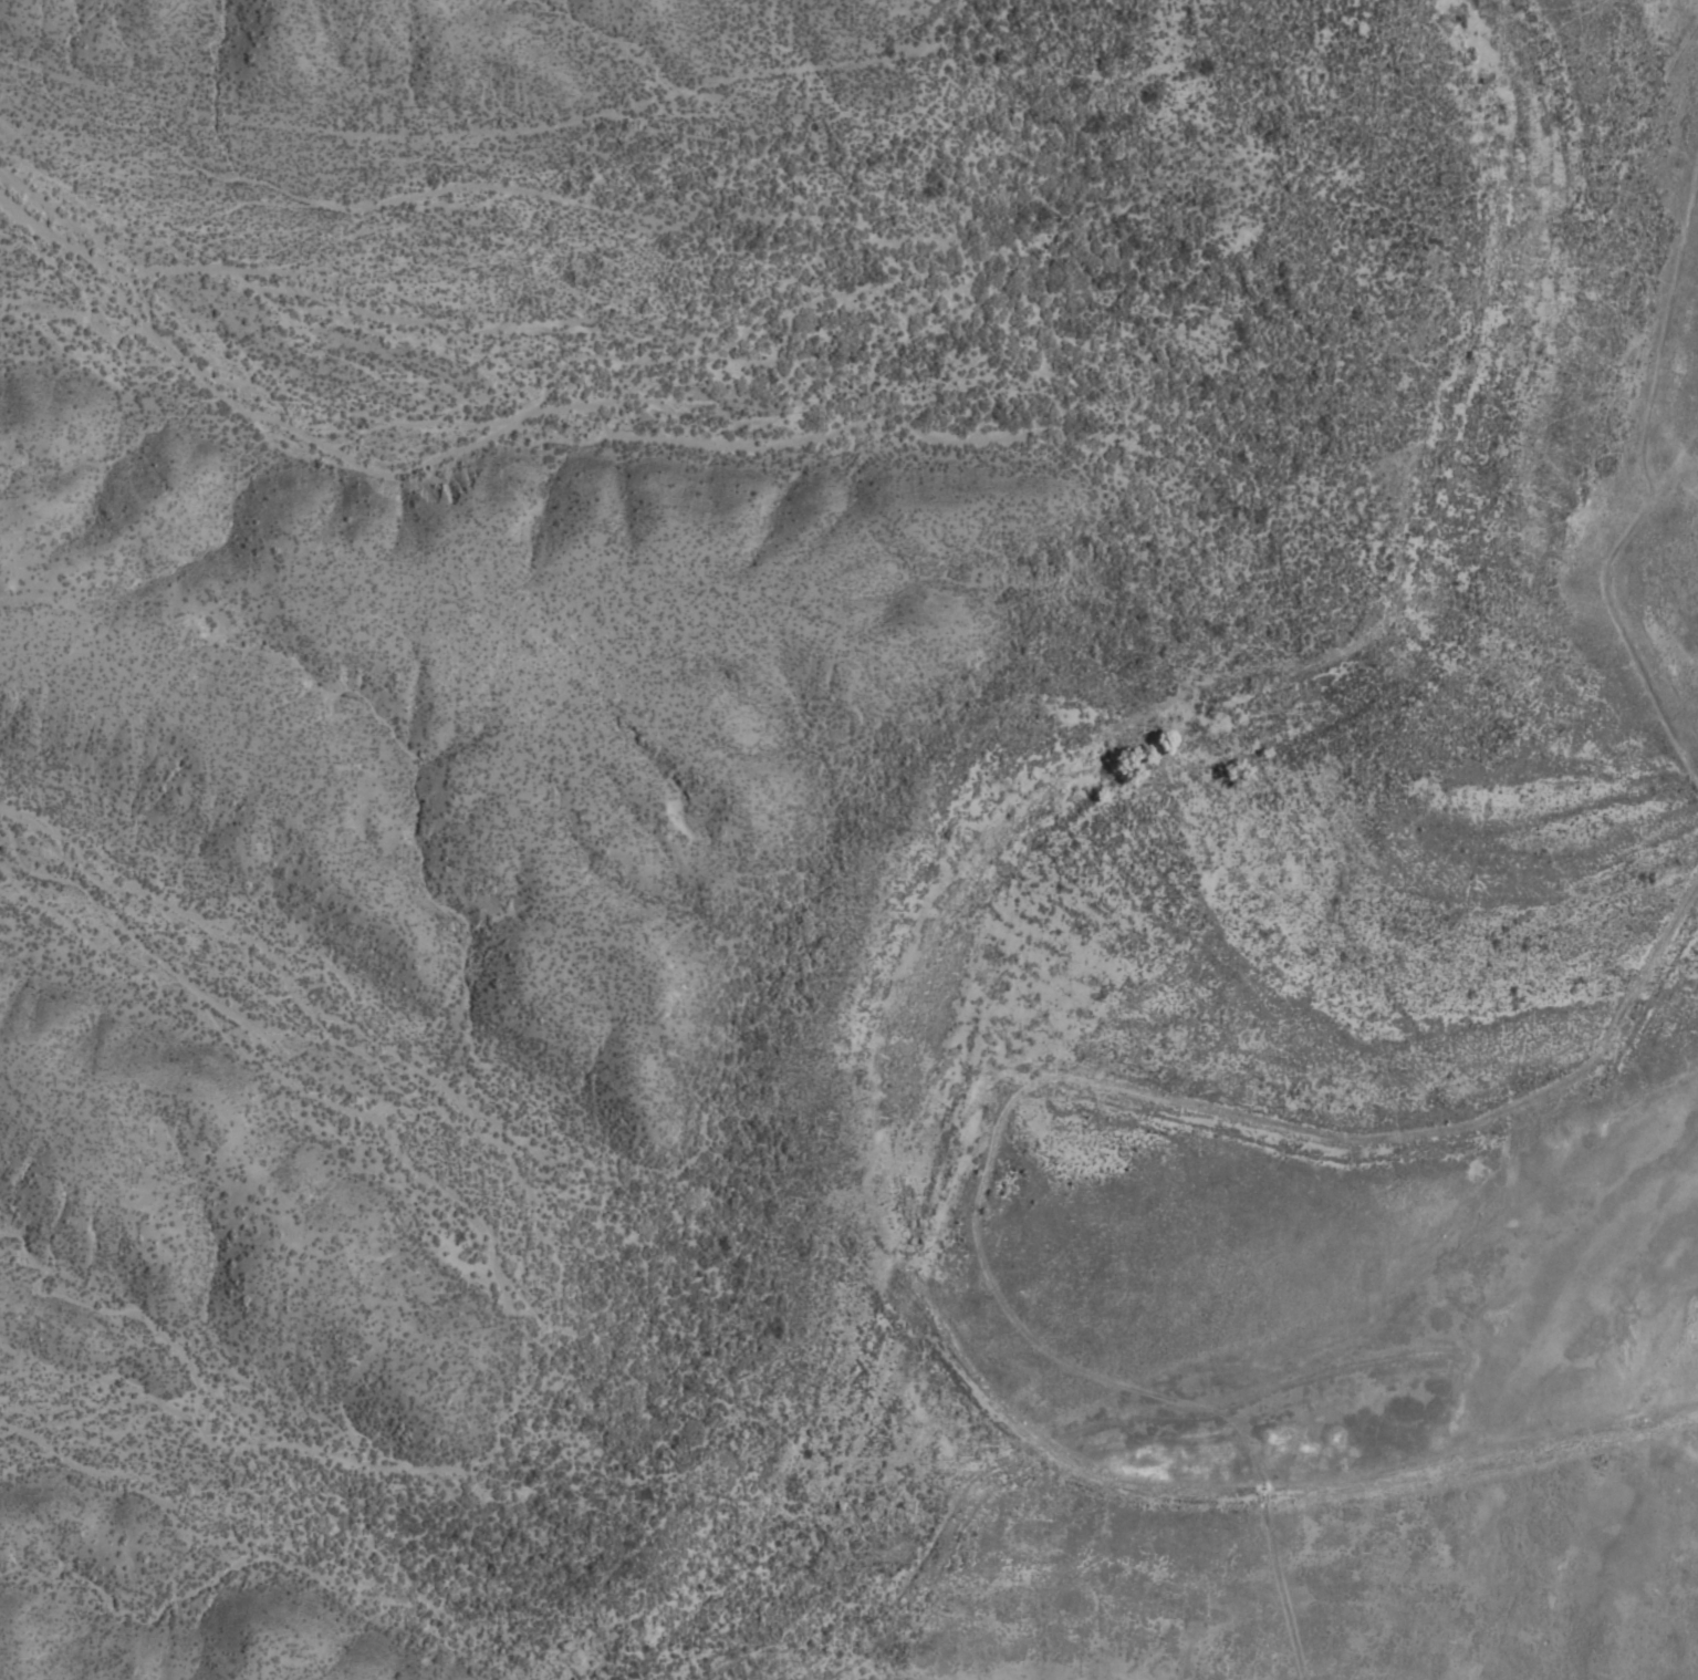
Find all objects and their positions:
road: (1499, 1458)
road: (1290, 1494)

